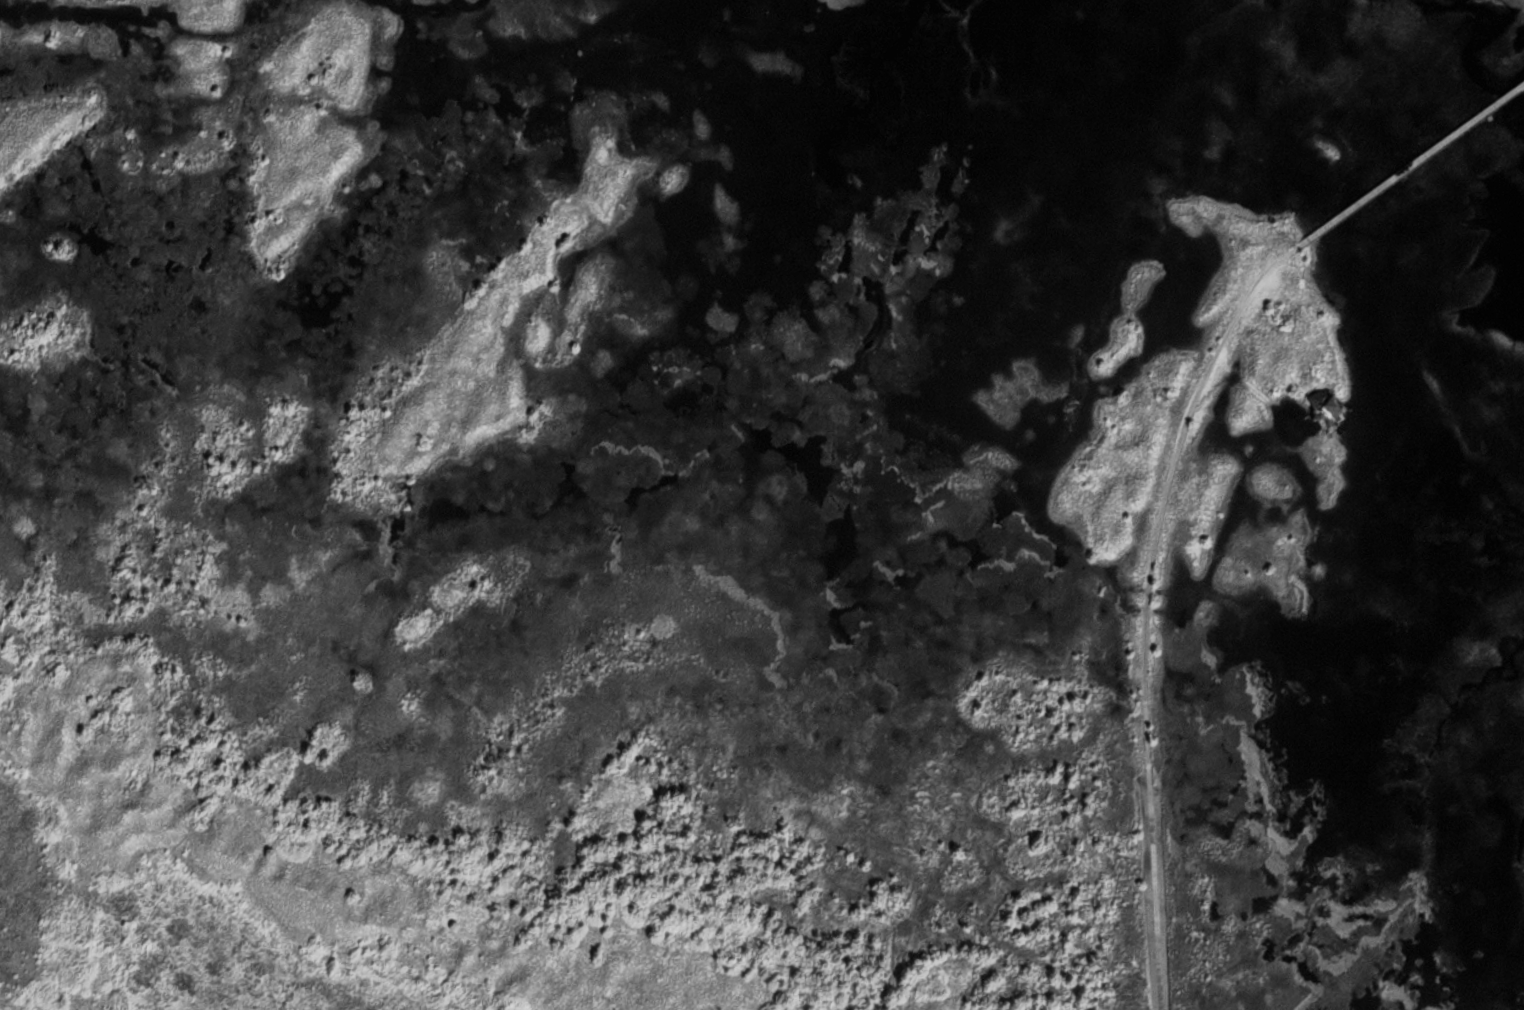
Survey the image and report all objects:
pier: (1410, 164)
pier: (1410, 164)
road: (1261, 395)
building: (1326, 403)
road: (1146, 609)

